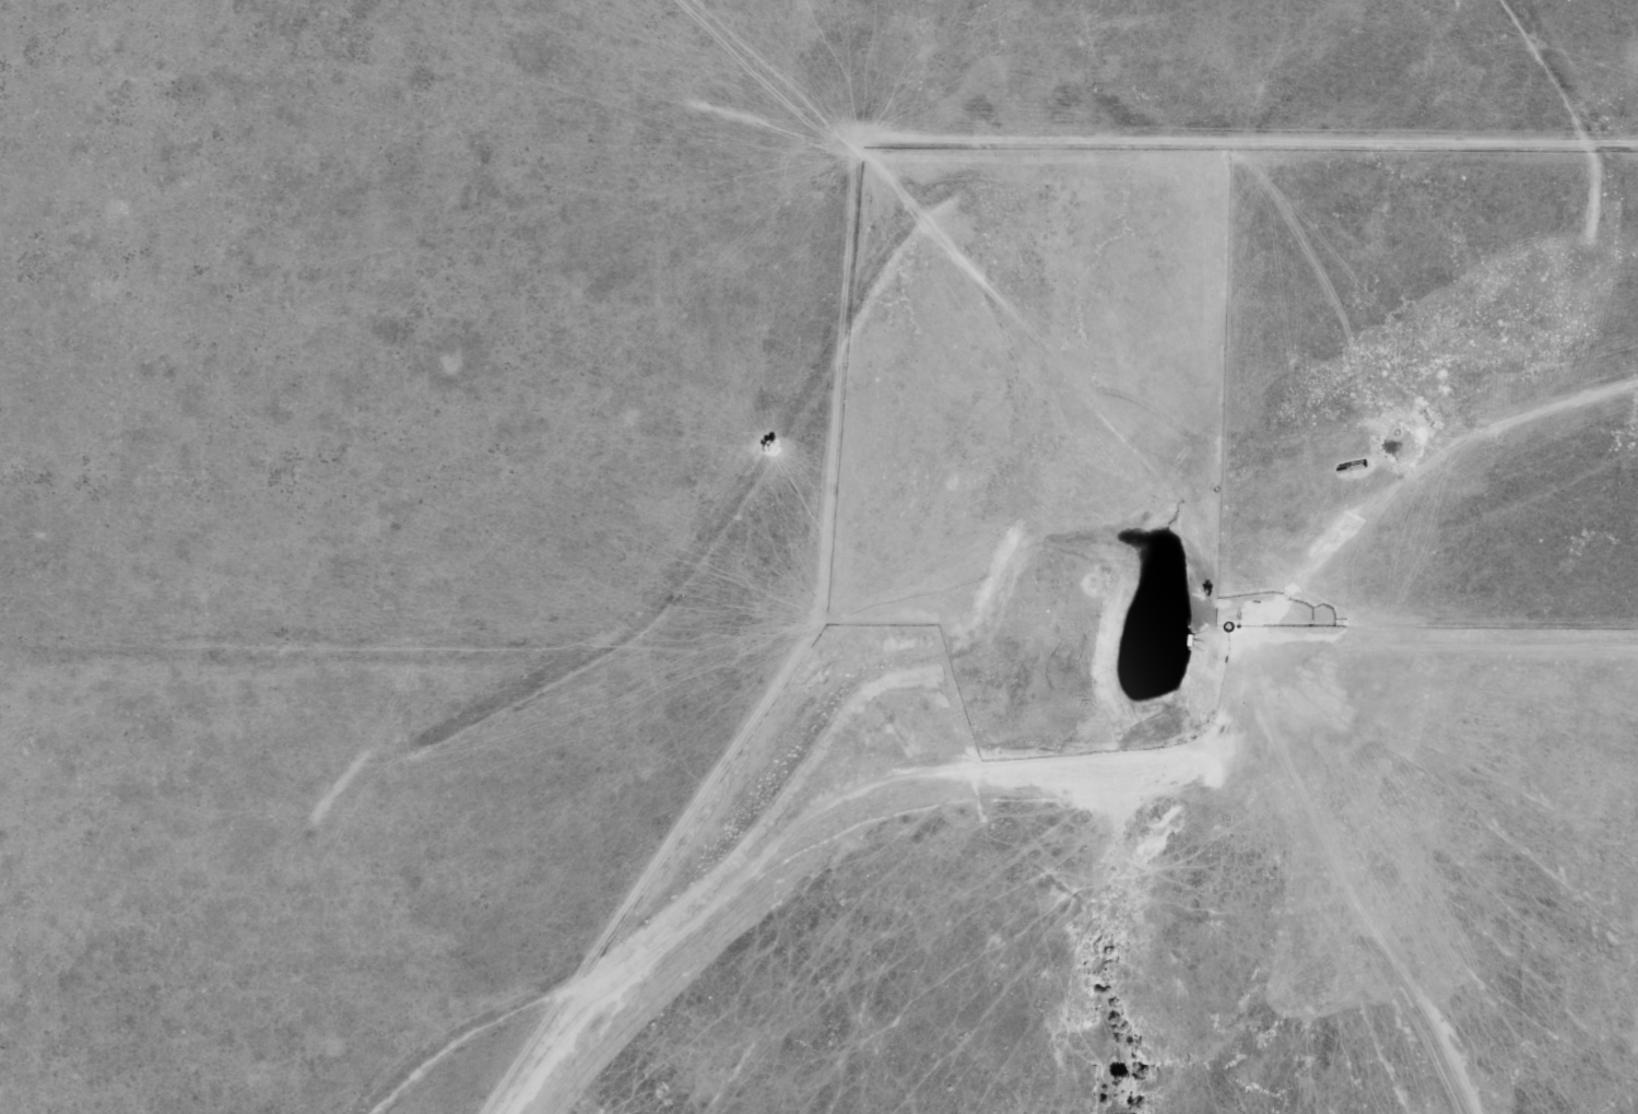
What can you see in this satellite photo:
road: (1254, 671)

